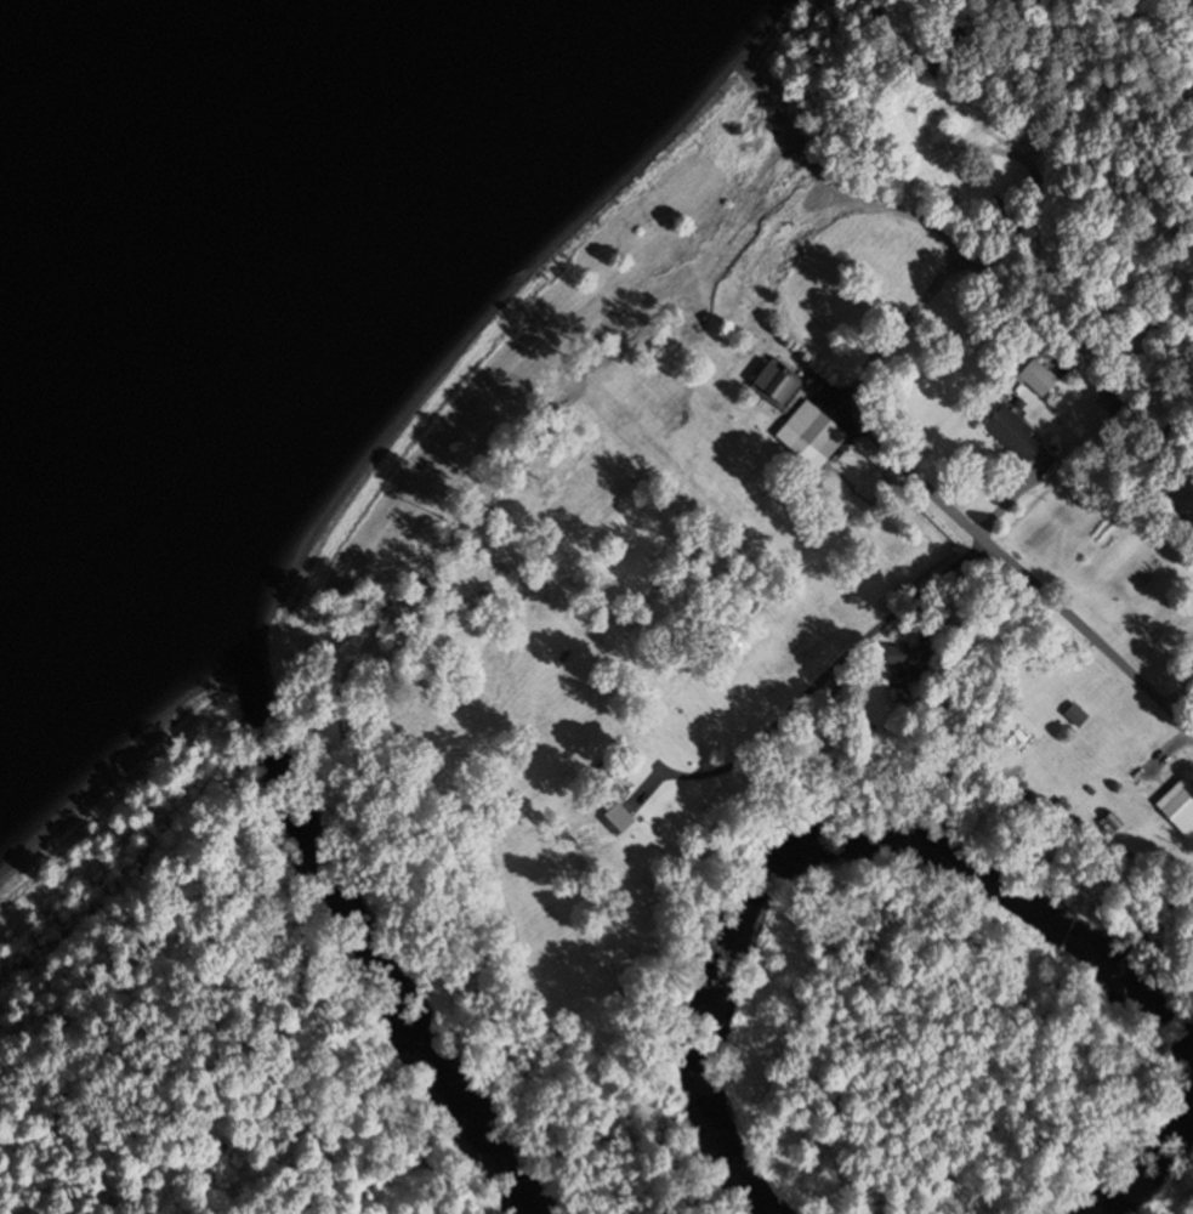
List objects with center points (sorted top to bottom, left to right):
road: (873, 200)
road: (875, 438)
road: (880, 639)
road: (1121, 660)

